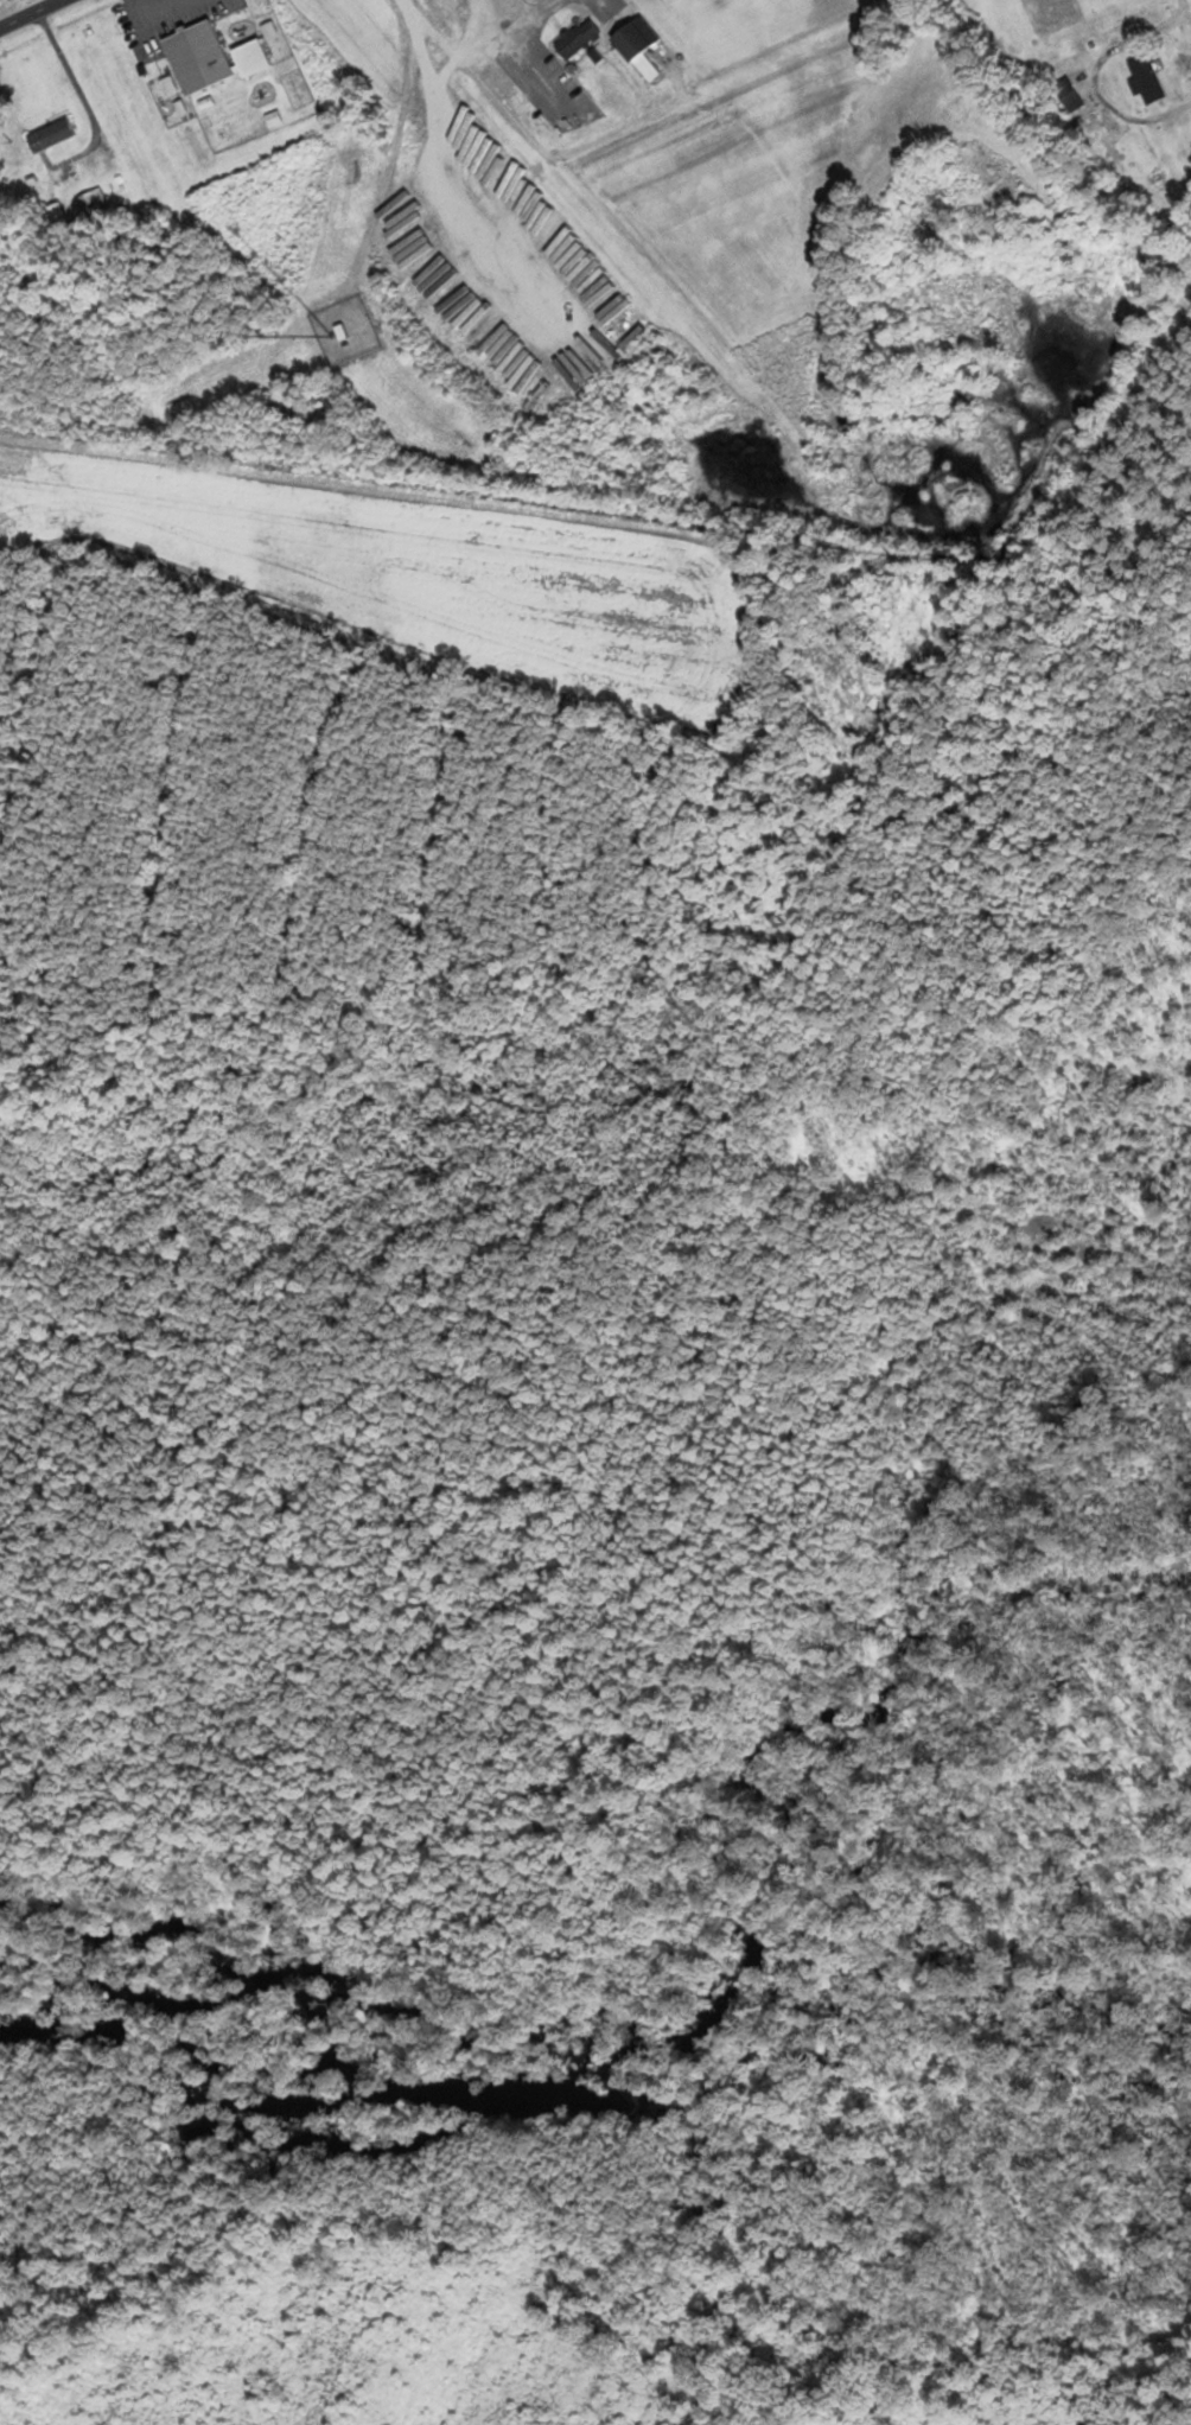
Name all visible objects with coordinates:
road: (1189, 2)
road: (28, 13)
building: (577, 38)
building: (638, 45)
building: (209, 57)
building: (1147, 78)
building: (1069, 96)
road: (84, 102)
building: (50, 135)
building: (95, 198)
building: (56, 212)

